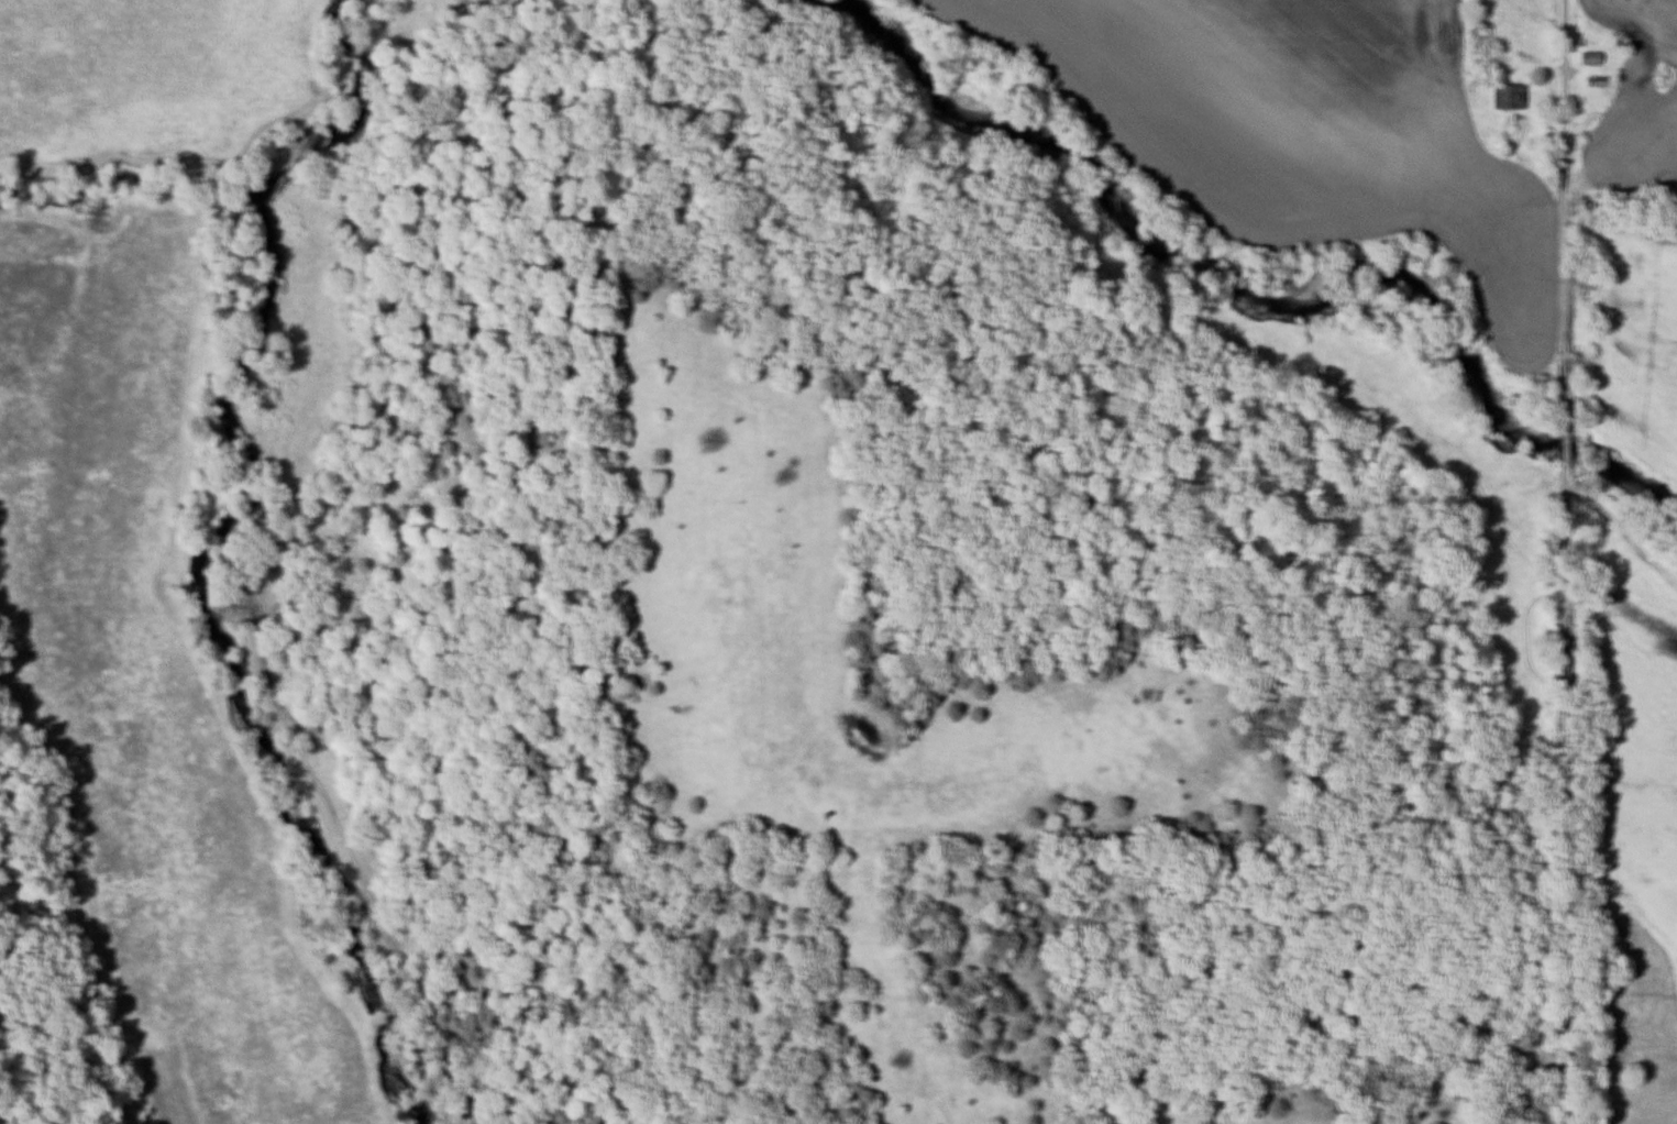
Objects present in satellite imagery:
building: (1590, 59)
building: (1505, 98)
road: (1556, 561)

